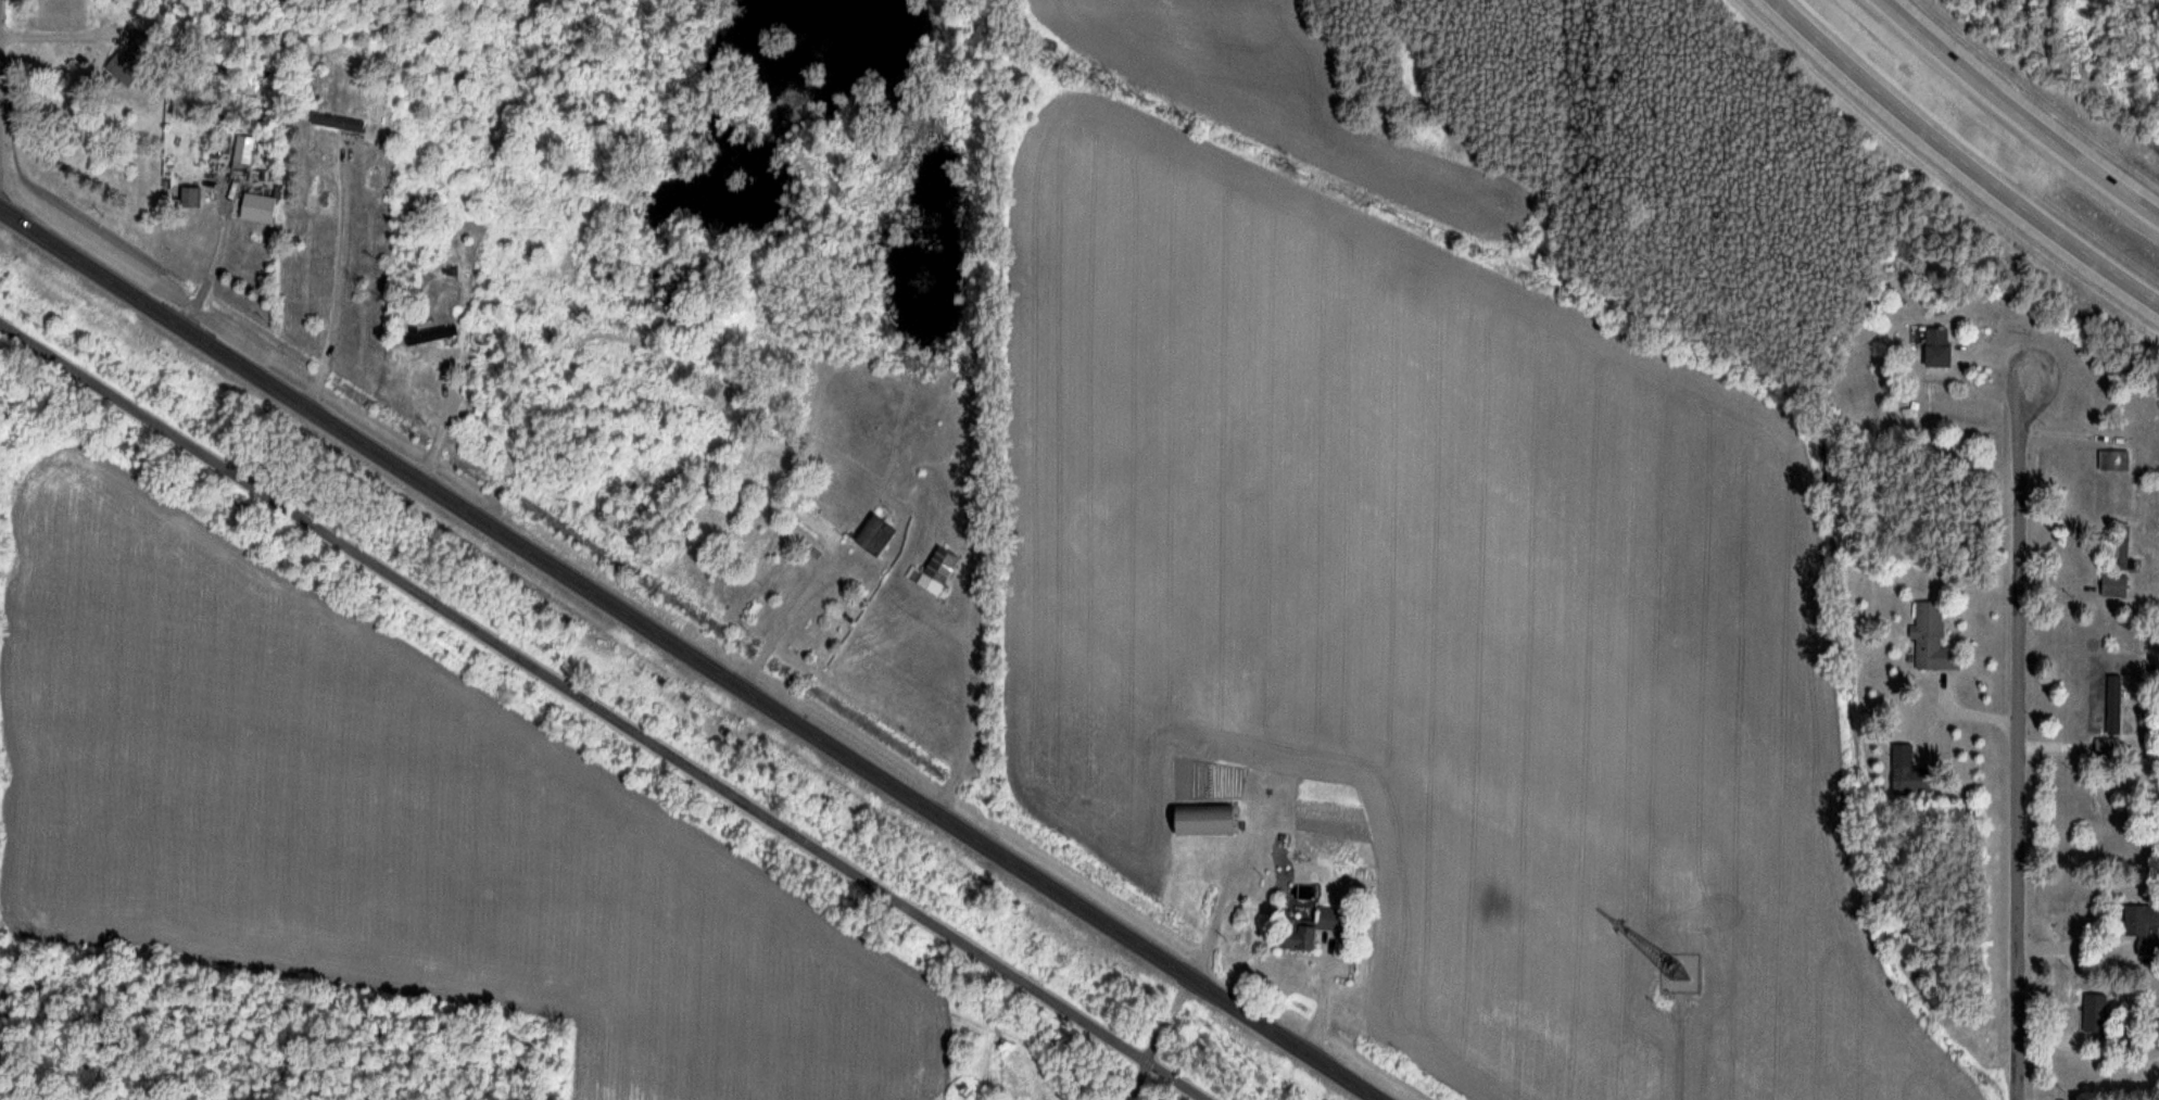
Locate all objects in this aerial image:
road: (2031, 7)
road: (0, 15)
road: (2017, 112)
building: (336, 122)
building: (243, 150)
road: (1949, 151)
road: (2024, 164)
building: (188, 197)
building: (255, 207)
road: (213, 261)
road: (339, 288)
road: (2146, 296)
building: (428, 333)
building: (1935, 346)
road: (933, 394)
road: (442, 417)
building: (2113, 460)
building: (820, 529)
building: (872, 536)
building: (2120, 545)
building: (932, 572)
building: (2113, 585)
building: (1931, 638)
road: (694, 654)
building: (2112, 710)
road: (602, 711)
road: (2019, 723)
building: (2106, 748)
building: (1906, 772)
building: (1200, 820)
building: (2141, 920)
building: (1305, 928)
road: (2074, 949)
building: (2094, 1013)

